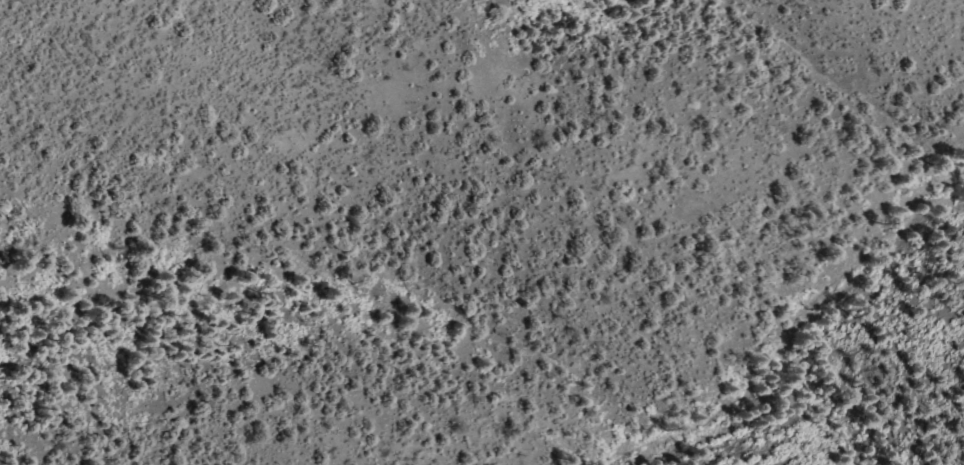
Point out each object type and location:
road: (804, 329)

